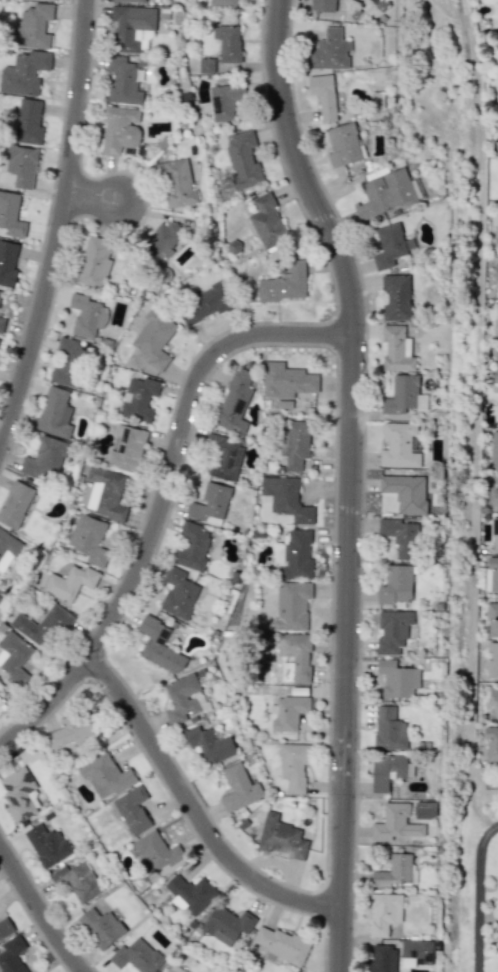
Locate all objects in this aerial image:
building: (129, 0)
building: (497, 1)
building: (223, 3)
building: (323, 5)
building: (33, 27)
building: (132, 27)
building: (228, 42)
building: (329, 51)
building: (206, 65)
building: (23, 73)
building: (123, 81)
building: (323, 95)
building: (225, 101)
rooftop solar panel: (218, 103)
building: (28, 121)
building: (120, 128)
building: (344, 145)
rooftop solar panel: (142, 148)
rooftop solar panel: (132, 149)
building: (243, 159)
building: (20, 165)
building: (176, 183)
building: (385, 194)
road: (93, 198)
building: (11, 215)
building: (267, 222)
road: (59, 228)
building: (161, 239)
building: (389, 246)
building: (7, 263)
building: (94, 263)
building: (496, 271)
building: (284, 284)
building: (0, 292)
building: (396, 297)
building: (205, 304)
building: (87, 315)
building: (497, 319)
building: (2, 324)
building: (155, 337)
building: (397, 348)
building: (69, 349)
building: (495, 364)
building: (65, 376)
building: (287, 381)
building: (401, 396)
building: (139, 398)
building: (234, 402)
building: (422, 402)
building: (284, 403)
rooftop solar panel: (239, 406)
building: (55, 413)
road: (476, 420)
rooftop solar panel: (127, 431)
building: (294, 443)
building: (416, 444)
building: (399, 446)
building: (127, 447)
building: (494, 449)
rooftop solar panel: (120, 452)
building: (223, 458)
building: (45, 459)
rooftop solar panel: (238, 460)
rooftop solar panel: (226, 475)
road: (351, 479)
railway: (464, 485)
building: (406, 492)
building: (106, 493)
building: (495, 497)
building: (285, 498)
road: (163, 501)
building: (15, 504)
building: (210, 504)
building: (495, 535)
building: (401, 537)
building: (90, 539)
building: (191, 546)
building: (7, 549)
building: (296, 555)
building: (491, 574)
building: (70, 583)
building: (396, 584)
building: (178, 593)
building: (0, 596)
building: (292, 605)
building: (492, 618)
building: (42, 626)
building: (393, 631)
rooftop solar panel: (164, 634)
rooftop solar panel: (161, 639)
building: (158, 645)
building: (295, 657)
building: (14, 658)
building: (492, 660)
building: (397, 679)
building: (494, 699)
building: (184, 700)
building: (288, 712)
building: (389, 729)
building: (71, 730)
building: (209, 744)
building: (491, 744)
building: (294, 766)
building: (388, 770)
building: (106, 775)
rooftop solar panel: (29, 776)
rooftop solar panel: (7, 786)
rooftop solar panel: (27, 787)
building: (238, 788)
building: (21, 794)
rooftop solar panel: (12, 799)
rooftop solar panel: (26, 799)
building: (133, 810)
road: (195, 810)
building: (424, 810)
rooftop solar panel: (26, 812)
building: (395, 823)
building: (281, 837)
building: (47, 845)
building: (155, 851)
building: (393, 871)
building: (77, 881)
building: (190, 893)
road: (477, 895)
road: (37, 911)
building: (384, 913)
park: (489, 921)
building: (101, 923)
building: (227, 924)
building: (5, 927)
building: (280, 944)
building: (416, 953)
building: (12, 955)
building: (136, 956)
building: (383, 959)
building: (173, 968)

